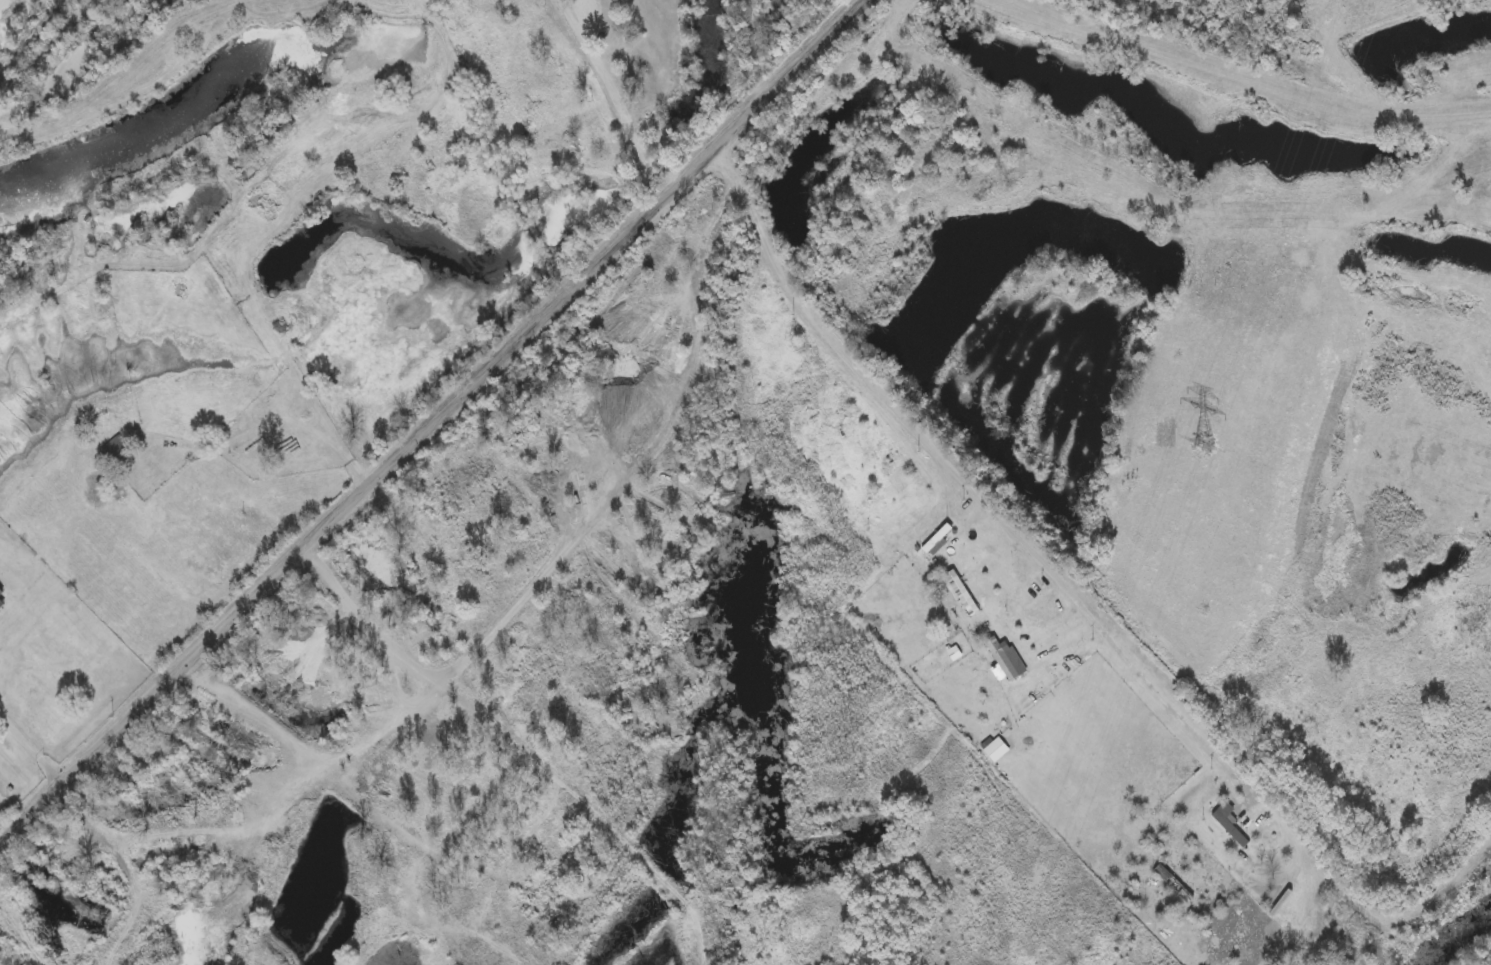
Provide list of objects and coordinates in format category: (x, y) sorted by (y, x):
road: (1260, 72)
road: (620, 115)
building: (633, 126)
building: (553, 139)
road: (434, 424)
power tower: (1202, 442)
building: (119, 448)
road: (1047, 556)
road: (537, 593)
road: (988, 612)
road: (36, 739)
road: (937, 777)
road: (1363, 907)

